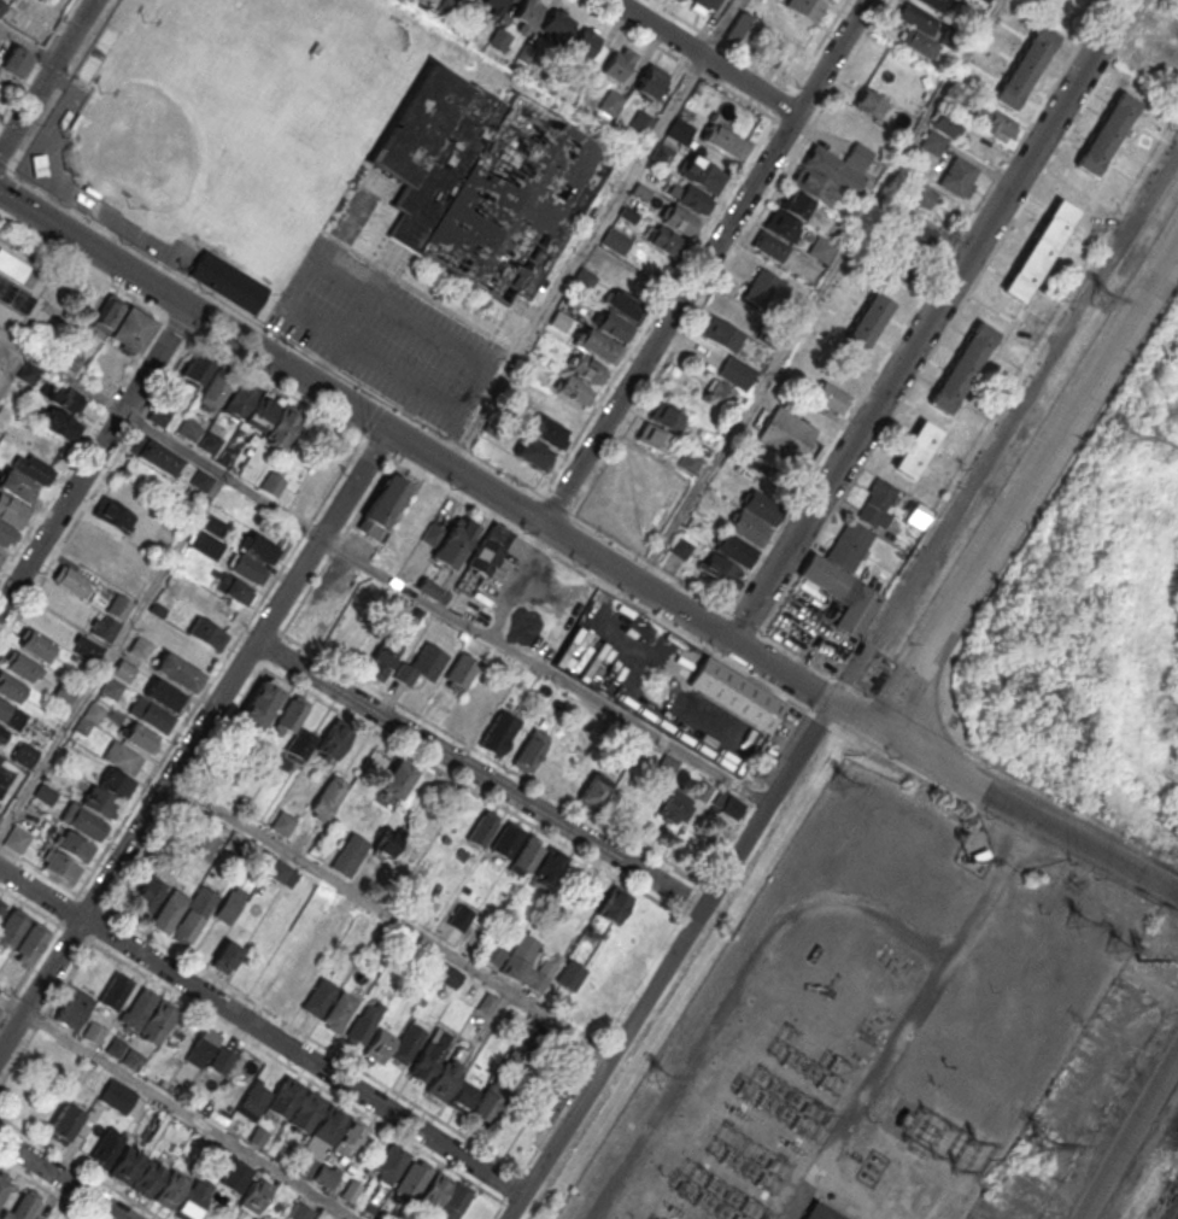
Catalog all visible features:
building: (831, 0)
building: (499, 2)
building: (1021, 2)
building: (702, 5)
building: (937, 5)
building: (804, 7)
building: (528, 11)
building: (556, 25)
building: (916, 31)
building: (754, 35)
building: (499, 39)
road: (28, 45)
building: (592, 46)
building: (527, 54)
road: (704, 57)
road: (832, 57)
road: (36, 59)
building: (17, 60)
building: (619, 63)
building: (1024, 66)
road: (46, 76)
building: (647, 83)
building: (609, 102)
building: (868, 102)
building: (640, 122)
building: (994, 123)
park: (225, 127)
building: (676, 129)
building: (939, 130)
building: (1107, 130)
building: (723, 141)
building: (661, 154)
road: (8, 174)
building: (701, 174)
building: (957, 176)
building: (482, 181)
building: (811, 186)
building: (920, 193)
building: (692, 198)
building: (680, 219)
building: (780, 225)
building: (916, 232)
road: (593, 233)
building: (615, 240)
building: (667, 240)
building: (769, 246)
building: (819, 248)
building: (1038, 250)
building: (12, 266)
building: (228, 280)
building: (582, 281)
building: (758, 287)
road: (819, 291)
building: (14, 295)
power tower: (1098, 299)
building: (623, 305)
building: (869, 318)
building: (559, 320)
road: (669, 320)
road: (930, 321)
building: (611, 326)
building: (131, 328)
building: (721, 334)
parking lot: (387, 335)
building: (598, 346)
road: (11, 361)
building: (962, 365)
building: (587, 368)
building: (197, 369)
building: (735, 371)
building: (216, 387)
building: (573, 388)
building: (721, 391)
building: (66, 398)
building: (831, 398)
building: (239, 399)
road: (444, 403)
building: (559, 410)
building: (260, 411)
building: (666, 416)
building: (58, 422)
building: (283, 424)
road: (457, 424)
building: (189, 428)
building: (545, 432)
building: (786, 433)
power tower: (1120, 435)
building: (652, 438)
building: (210, 443)
road: (174, 444)
road: (415, 445)
building: (915, 446)
power tower: (1158, 449)
building: (533, 453)
building: (157, 456)
road: (93, 458)
building: (688, 462)
building: (33, 468)
building: (203, 480)
building: (272, 482)
building: (17, 485)
road: (1028, 487)
building: (381, 505)
building: (761, 505)
building: (877, 506)
building: (113, 514)
building: (10, 521)
building: (748, 528)
building: (432, 533)
building: (98, 535)
building: (452, 543)
building: (258, 546)
building: (679, 547)
building: (734, 549)
building: (1, 556)
building: (485, 556)
building: (347, 563)
building: (247, 568)
road: (277, 572)
building: (71, 580)
building: (232, 588)
building: (840, 592)
road: (143, 605)
building: (119, 606)
building: (225, 608)
building: (104, 627)
building: (207, 633)
building: (34, 643)
building: (387, 644)
building: (140, 646)
building: (87, 649)
building: (20, 664)
building: (420, 666)
road: (546, 668)
building: (461, 669)
building: (123, 670)
building: (177, 670)
building: (10, 687)
building: (111, 687)
building: (733, 693)
building: (165, 695)
building: (260, 703)
building: (151, 714)
building: (292, 714)
building: (11, 715)
building: (88, 717)
building: (498, 732)
building: (1, 733)
building: (139, 735)
road: (194, 739)
building: (333, 739)
building: (300, 744)
building: (531, 750)
building: (24, 754)
building: (123, 757)
building: (667, 766)
building: (5, 772)
building: (224, 774)
road: (480, 775)
building: (395, 779)
power tower: (840, 783)
building: (593, 792)
building: (45, 793)
building: (328, 796)
road: (1004, 798)
building: (726, 804)
building: (675, 807)
building: (0, 815)
building: (83, 821)
building: (282, 822)
building: (482, 828)
building: (17, 839)
building: (506, 839)
building: (388, 840)
building: (75, 845)
building: (205, 848)
building: (350, 854)
building: (526, 856)
building: (60, 866)
building: (545, 868)
building: (280, 872)
building: (147, 898)
building: (614, 904)
building: (230, 906)
building: (169, 909)
road: (392, 916)
building: (461, 918)
power tower: (1073, 924)
building: (11, 928)
building: (31, 943)
power tower: (1115, 947)
building: (493, 953)
building: (227, 957)
road: (670, 961)
power tower: (1141, 961)
building: (529, 963)
building: (449, 975)
building: (570, 975)
road: (733, 989)
building: (116, 991)
building: (318, 995)
building: (74, 1008)
building: (341, 1010)
building: (148, 1016)
road: (913, 1018)
building: (363, 1025)
road: (263, 1031)
power substation: (886, 1031)
building: (93, 1032)
building: (406, 1044)
building: (116, 1047)
building: (203, 1047)
building: (379, 1047)
building: (133, 1059)
building: (424, 1061)
building: (241, 1080)
power tower: (657, 1080)
building: (444, 1082)
building: (117, 1096)
building: (463, 1097)
building: (550, 1103)
building: (487, 1106)
road: (177, 1107)
building: (306, 1110)
building: (63, 1123)
building: (326, 1129)
building: (348, 1137)
road: (75, 1139)
road: (1131, 1139)
power tower: (1036, 1145)
building: (106, 1148)
building: (127, 1164)
building: (392, 1164)
building: (236, 1176)
building: (148, 1177)
building: (324, 1177)
road: (63, 1179)
building: (4, 1184)
building: (434, 1188)
building: (170, 1189)
building: (350, 1191)
building: (256, 1195)
building: (194, 1197)
building: (456, 1201)
building: (23, 1206)
building: (300, 1212)
building: (821, 1212)
railway: (1173, 1212)

